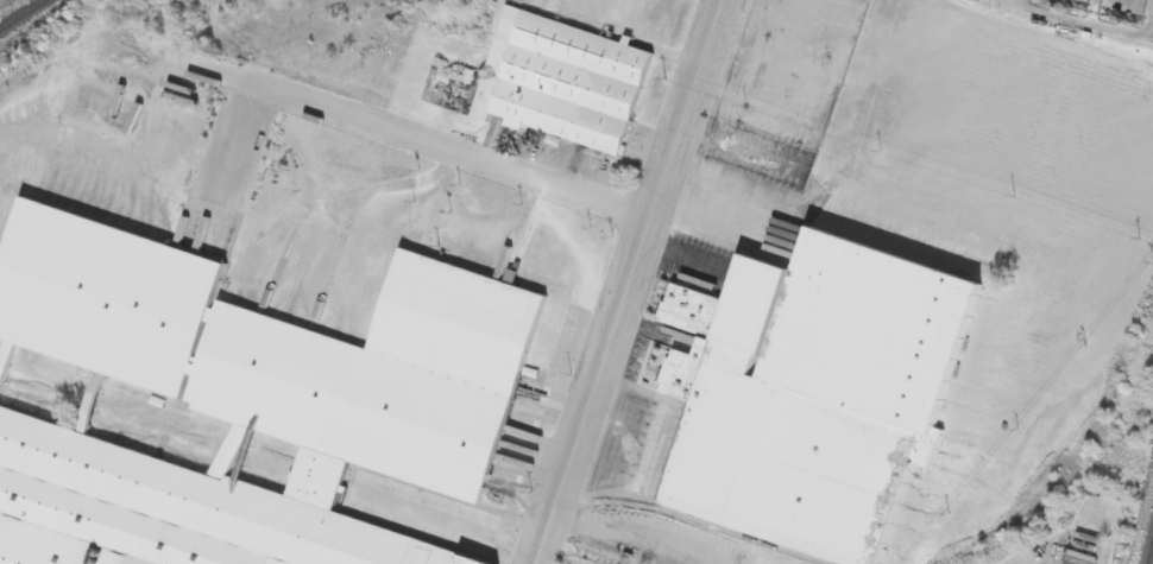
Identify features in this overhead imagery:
building: (1108, 7)
railway: (26, 18)
building: (562, 80)
road: (426, 142)
road: (625, 281)
building: (252, 394)
building: (813, 394)
railway: (241, 458)
railway: (1151, 555)

